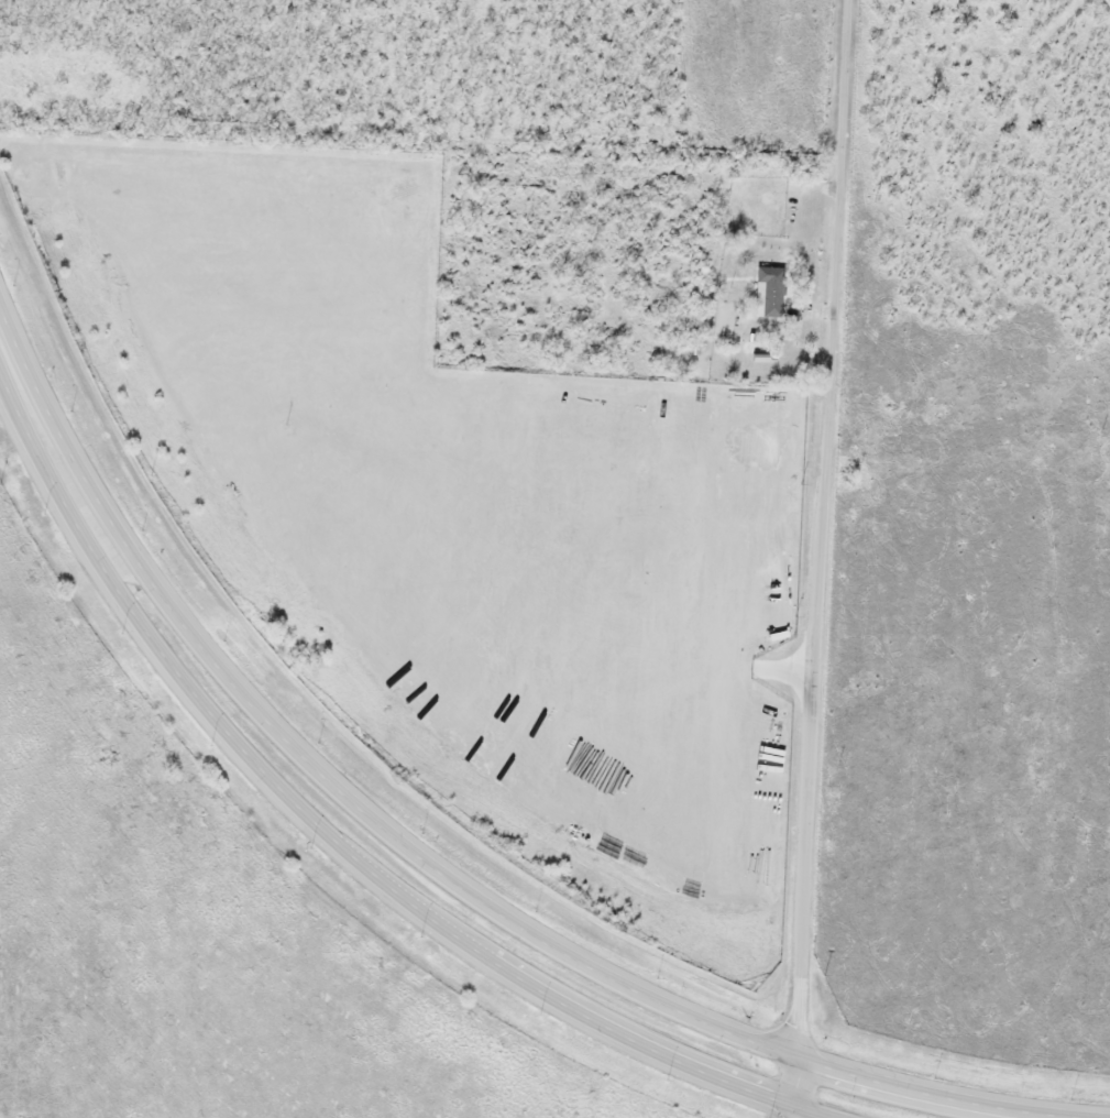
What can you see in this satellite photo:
building: (769, 291)
road: (821, 552)
road: (337, 842)
road: (420, 862)
road: (798, 1112)

